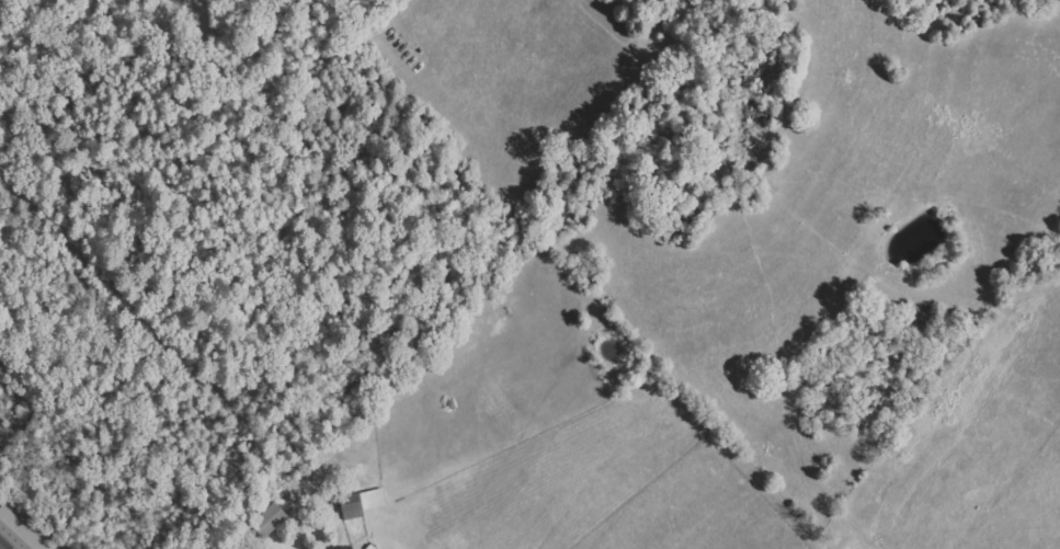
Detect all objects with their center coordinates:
building: (366, 502)
building: (271, 521)
road: (298, 526)
building: (18, 533)

